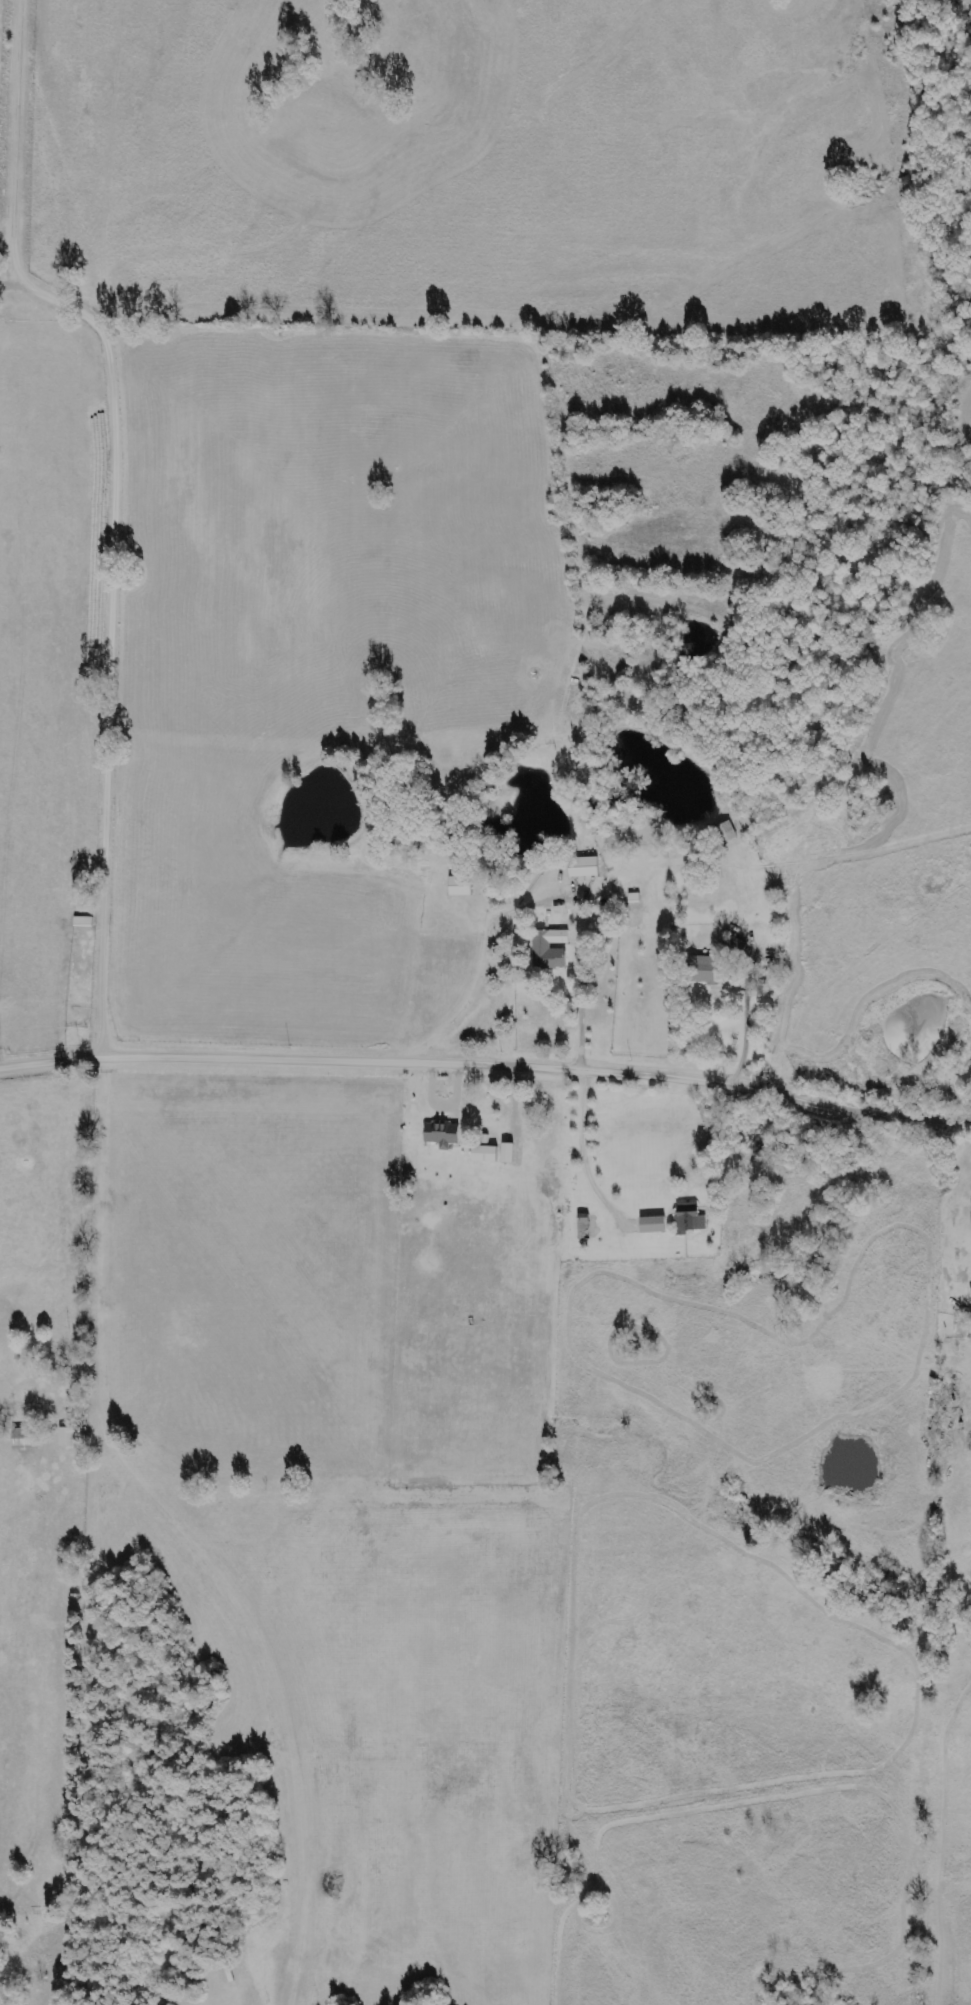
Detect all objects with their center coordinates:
road: (116, 518)
building: (726, 832)
building: (585, 866)
building: (462, 885)
building: (553, 947)
building: (704, 968)
road: (487, 1047)
building: (444, 1133)
building: (509, 1152)
building: (486, 1153)
building: (694, 1221)
building: (655, 1224)
building: (27, 1436)
building: (69, 1436)

